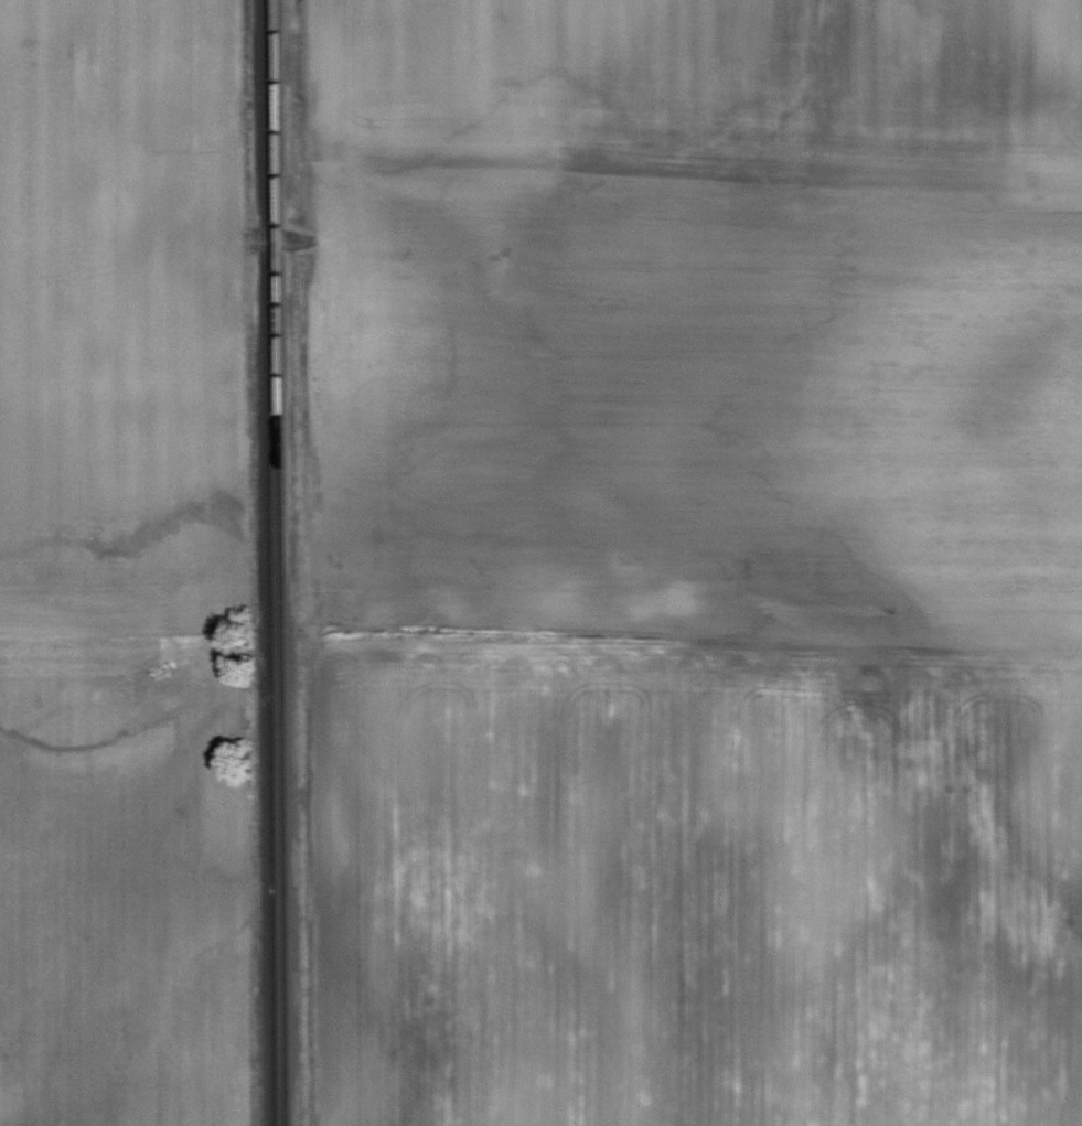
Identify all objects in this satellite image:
railway: (268, 562)
railway: (278, 562)

